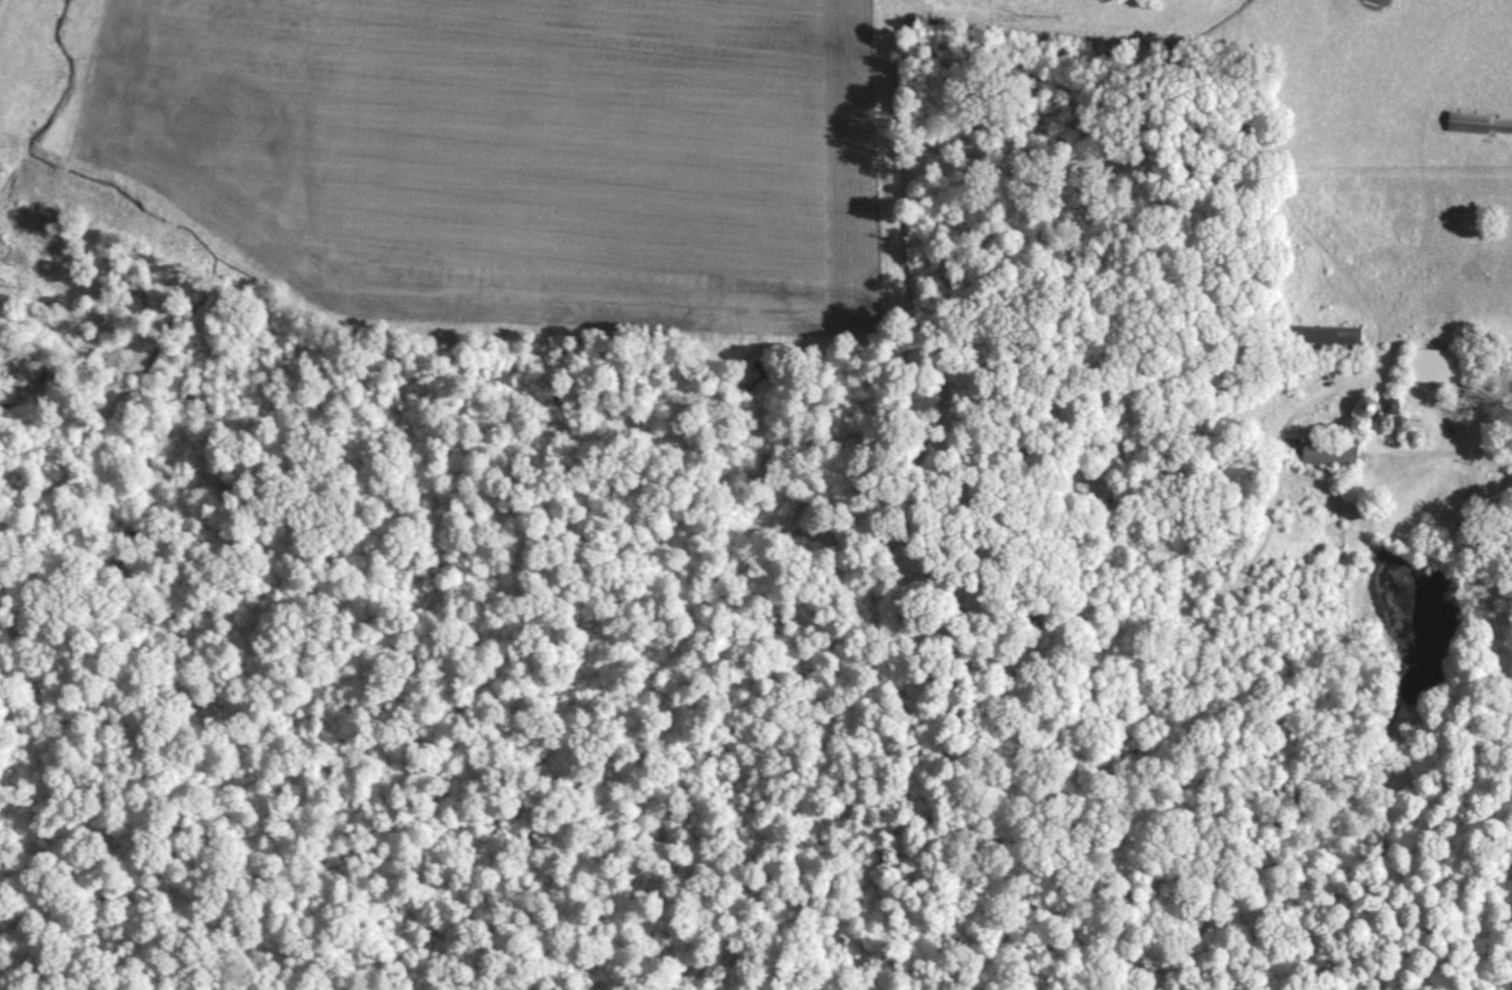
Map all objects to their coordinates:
building: (1437, 364)
building: (1330, 453)

